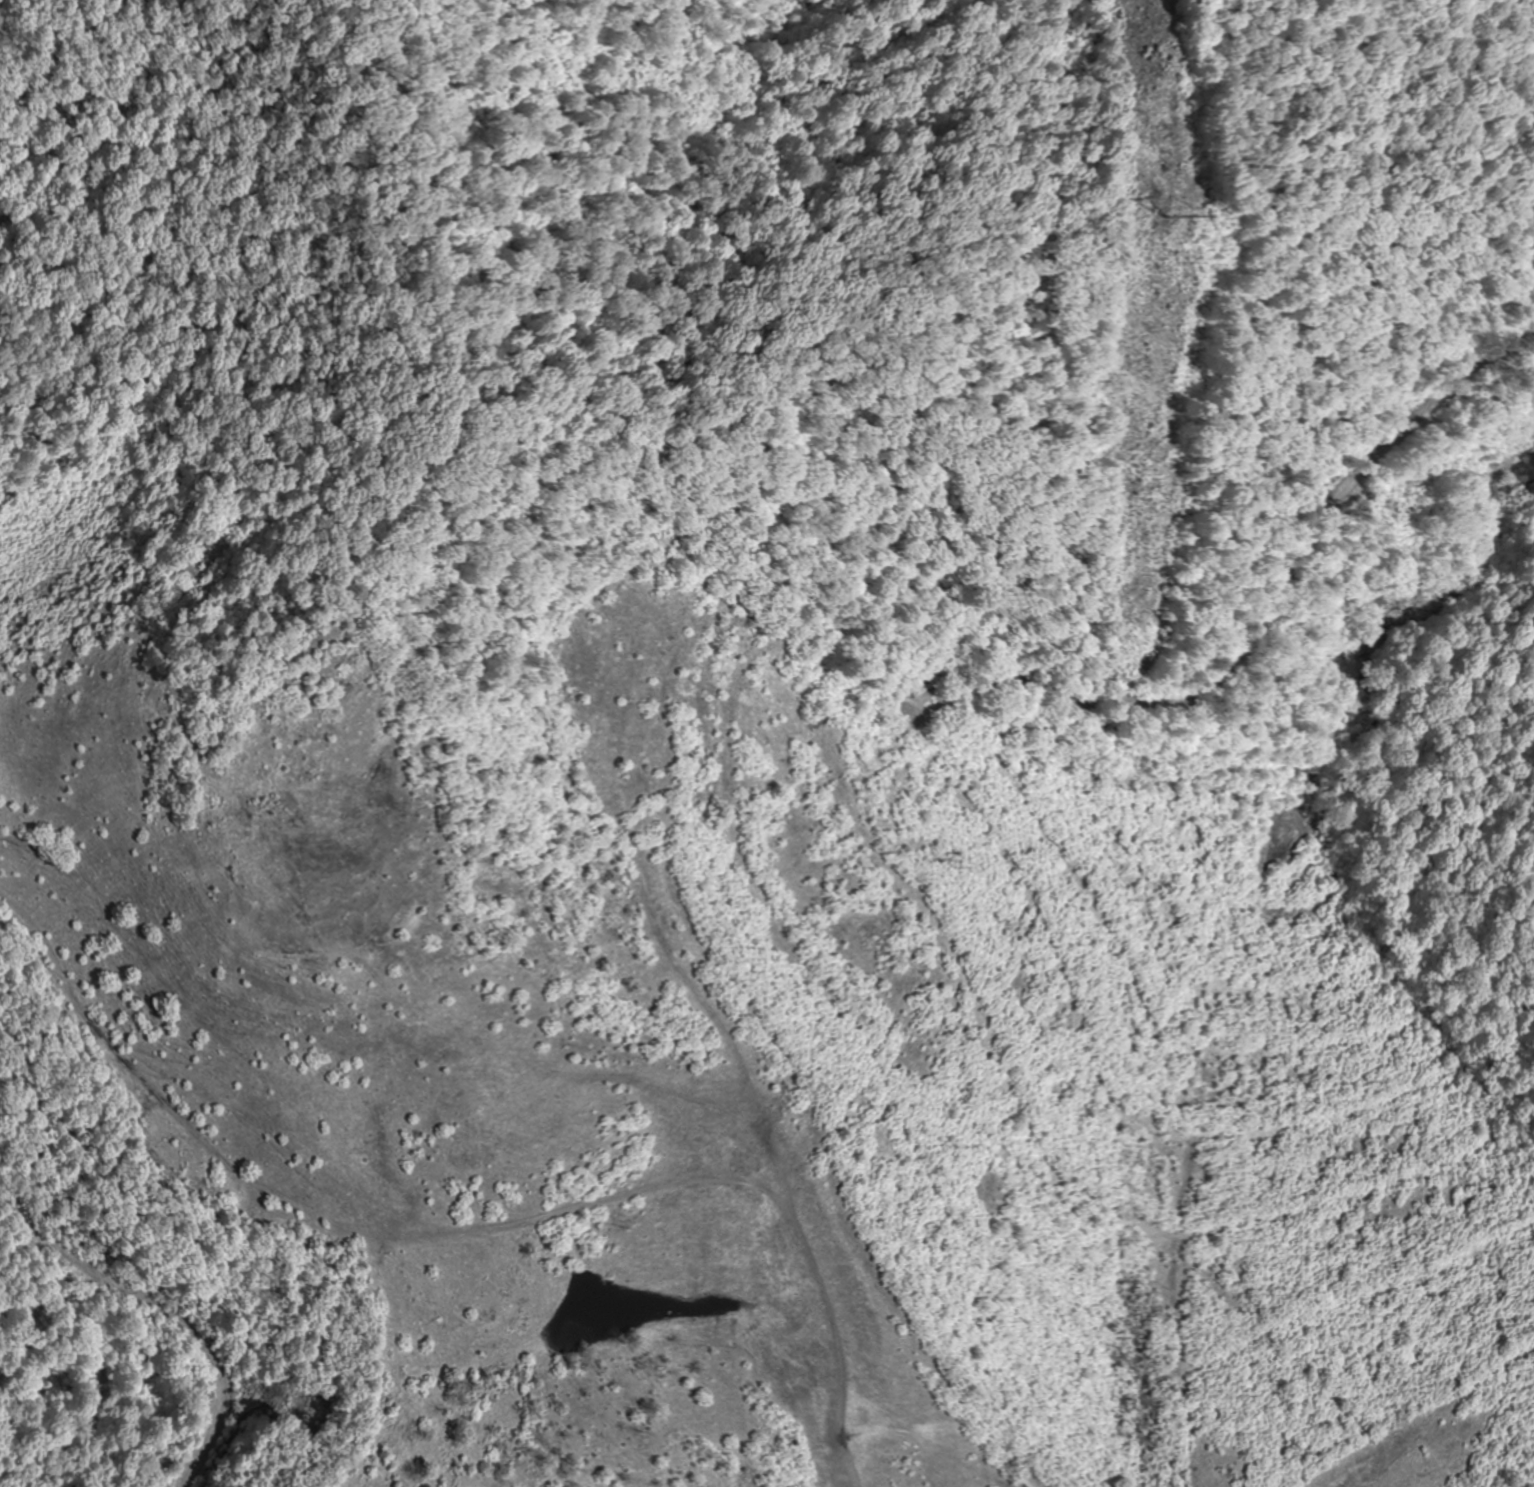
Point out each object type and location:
road: (66, 1070)

